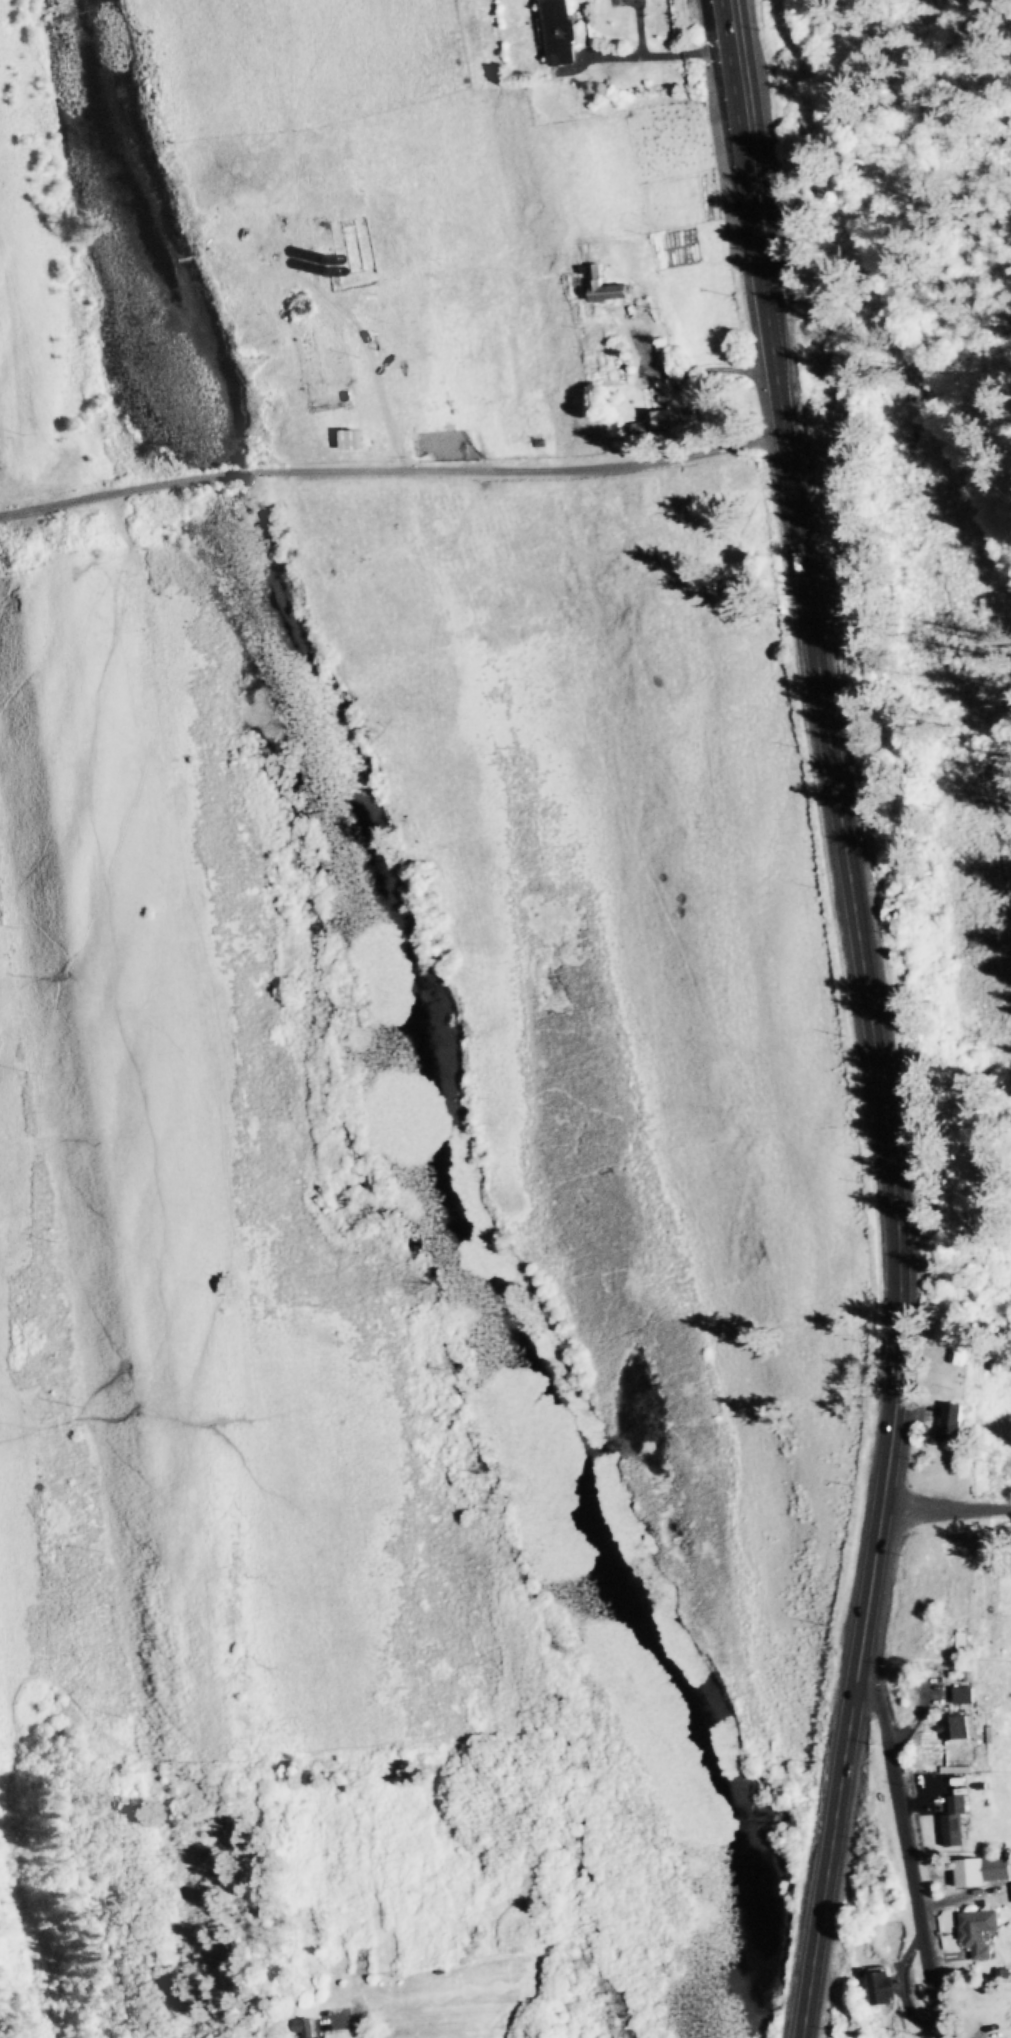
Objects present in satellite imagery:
building: (555, 33)
building: (593, 271)
railway: (894, 304)
building: (323, 357)
building: (662, 420)
road: (391, 476)
road: (868, 1017)
building: (948, 1422)
road: (945, 1509)
building: (983, 1598)
building: (958, 1644)
building: (959, 1695)
building: (950, 1823)
road: (904, 1849)
building: (979, 1873)
building: (974, 1932)
building: (880, 1988)
road: (356, 2012)
building: (300, 2028)

